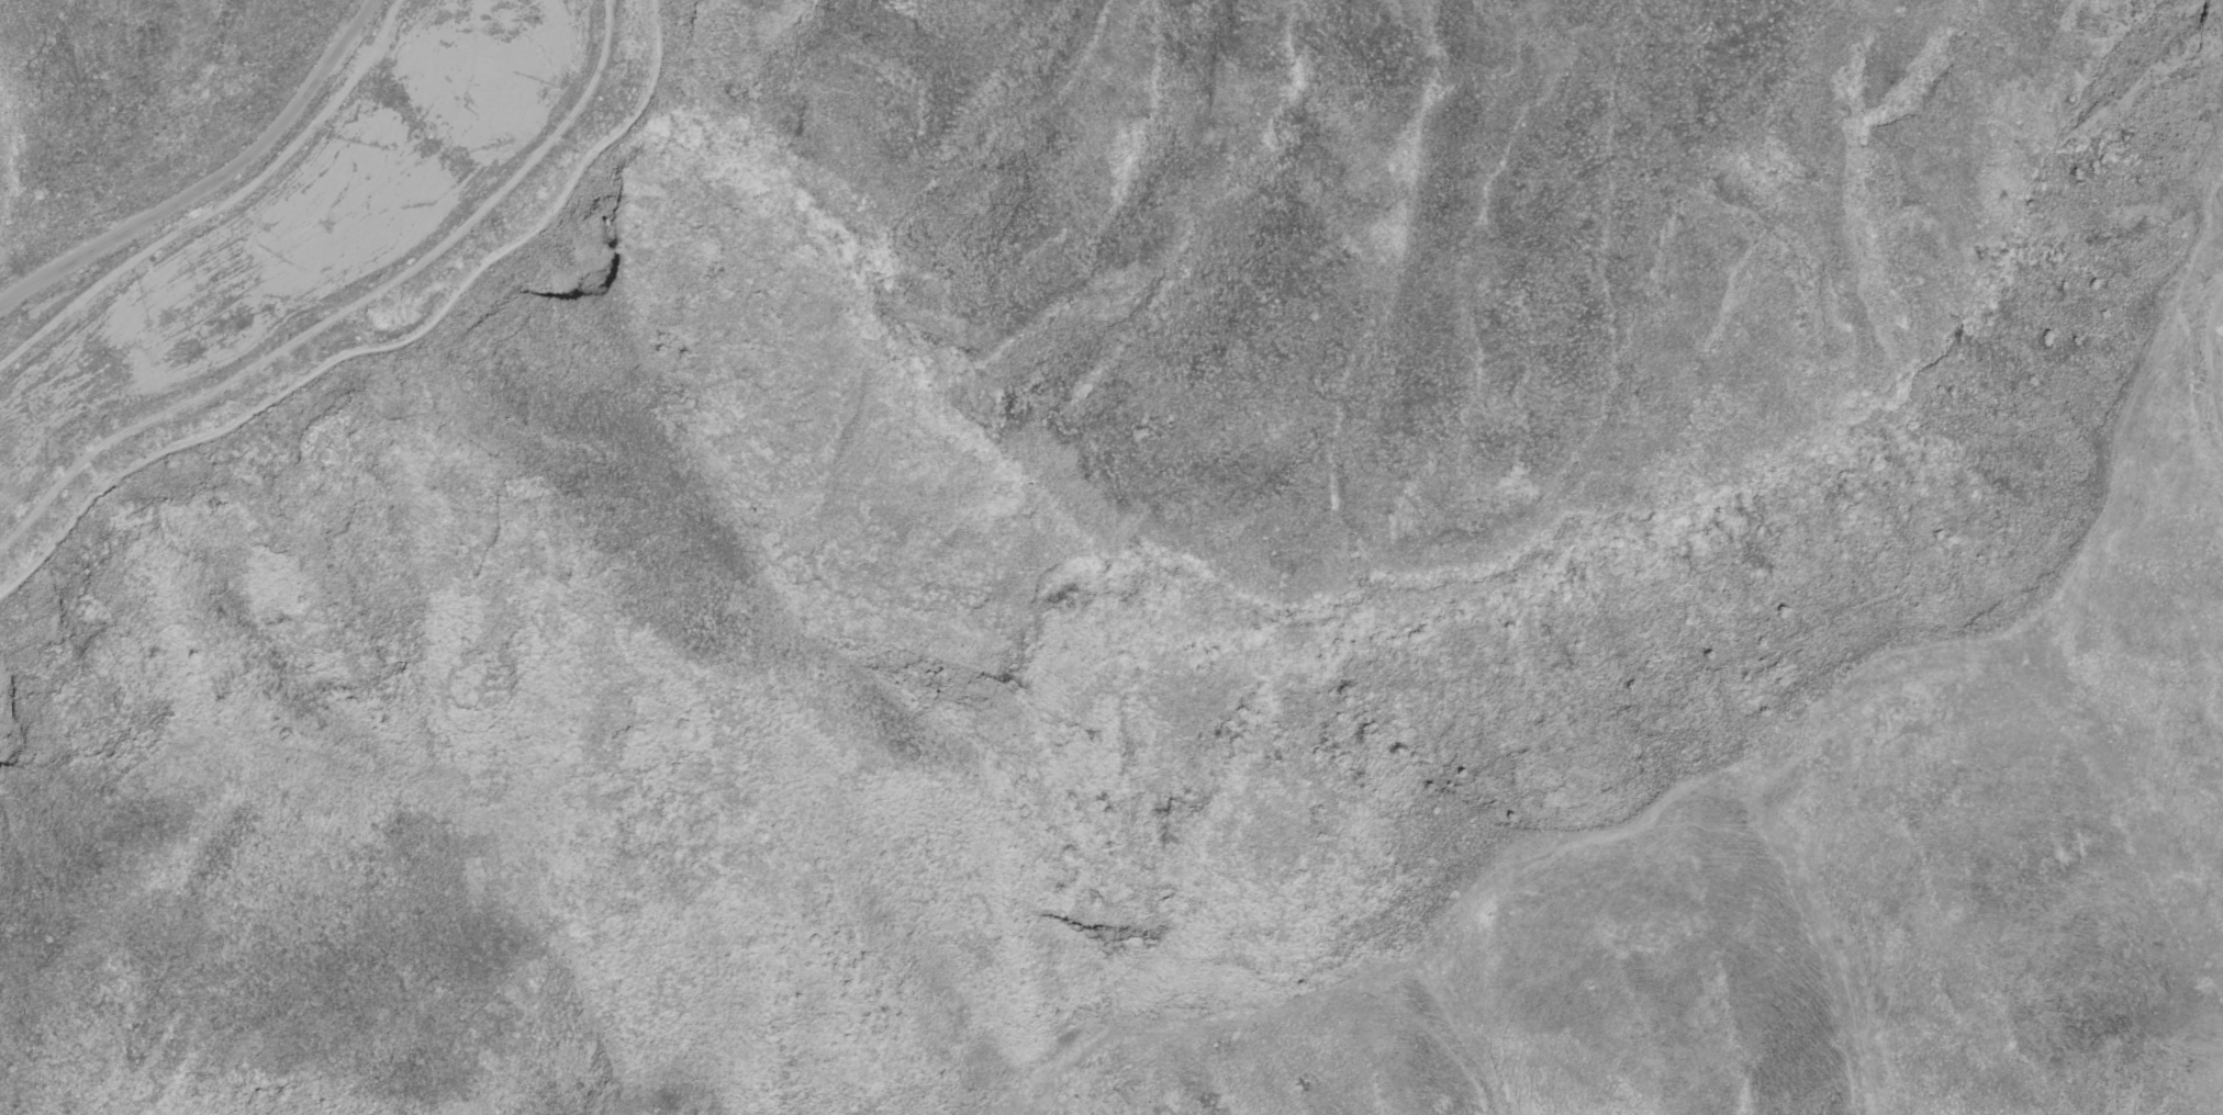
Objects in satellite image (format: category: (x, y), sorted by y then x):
road: (215, 187)
road: (2208, 360)

